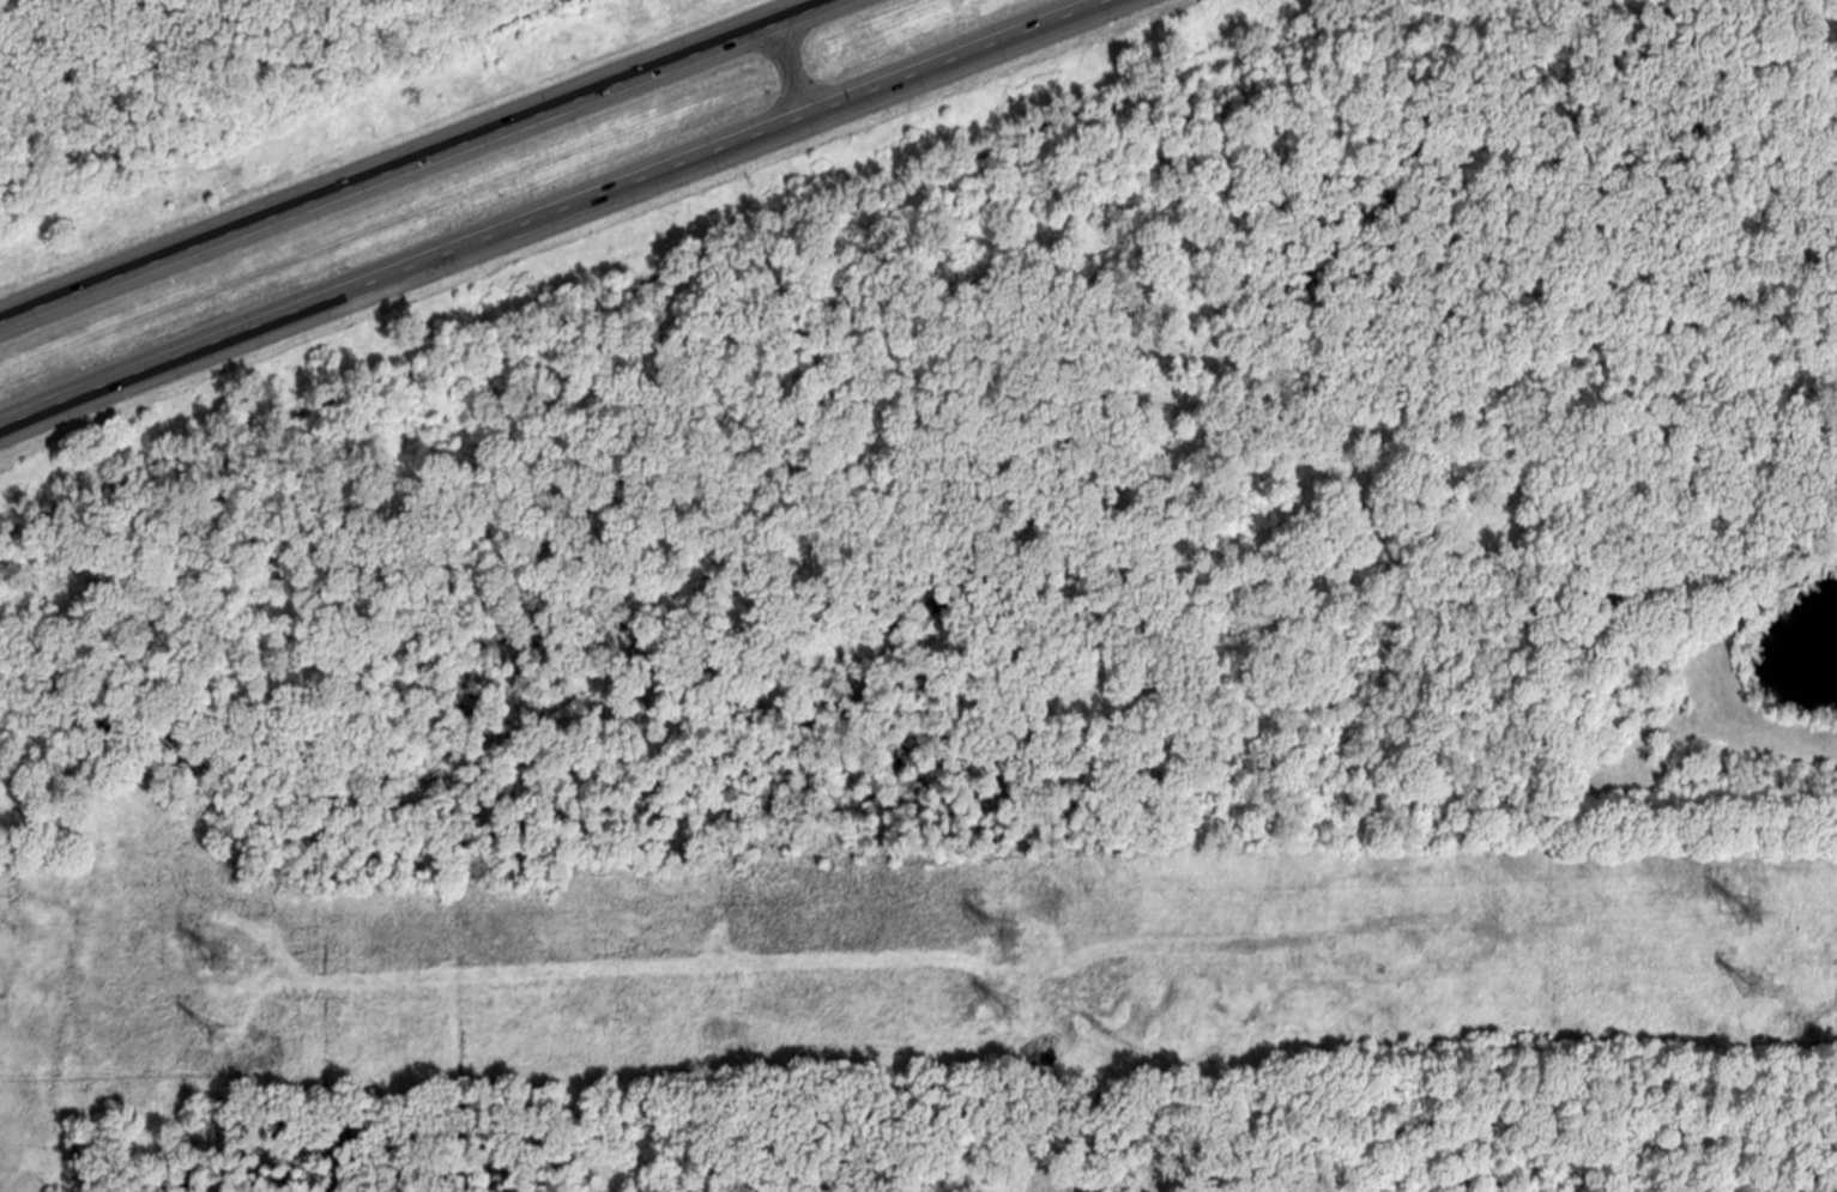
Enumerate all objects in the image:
road: (790, 69)
road: (413, 157)
road: (556, 214)
power tower: (1750, 909)
power tower: (1007, 932)
power tower: (220, 956)
power tower: (1752, 985)
power tower: (1010, 1006)
power tower: (217, 1031)
building: (1144, 1191)

